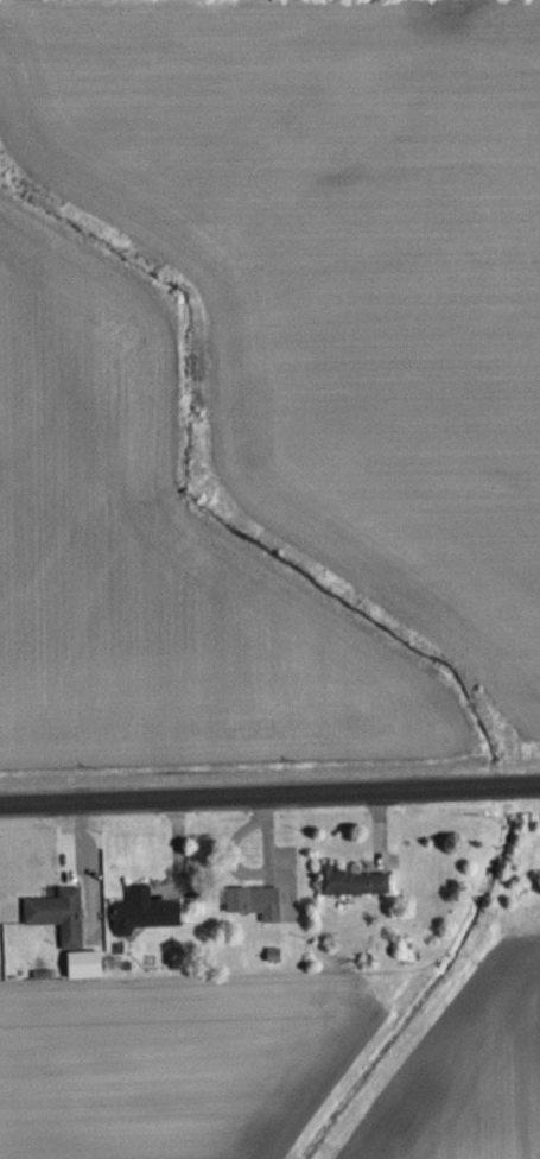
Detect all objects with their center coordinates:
road: (269, 791)
building: (352, 895)
building: (255, 916)
building: (144, 925)
building: (59, 929)
building: (84, 978)

